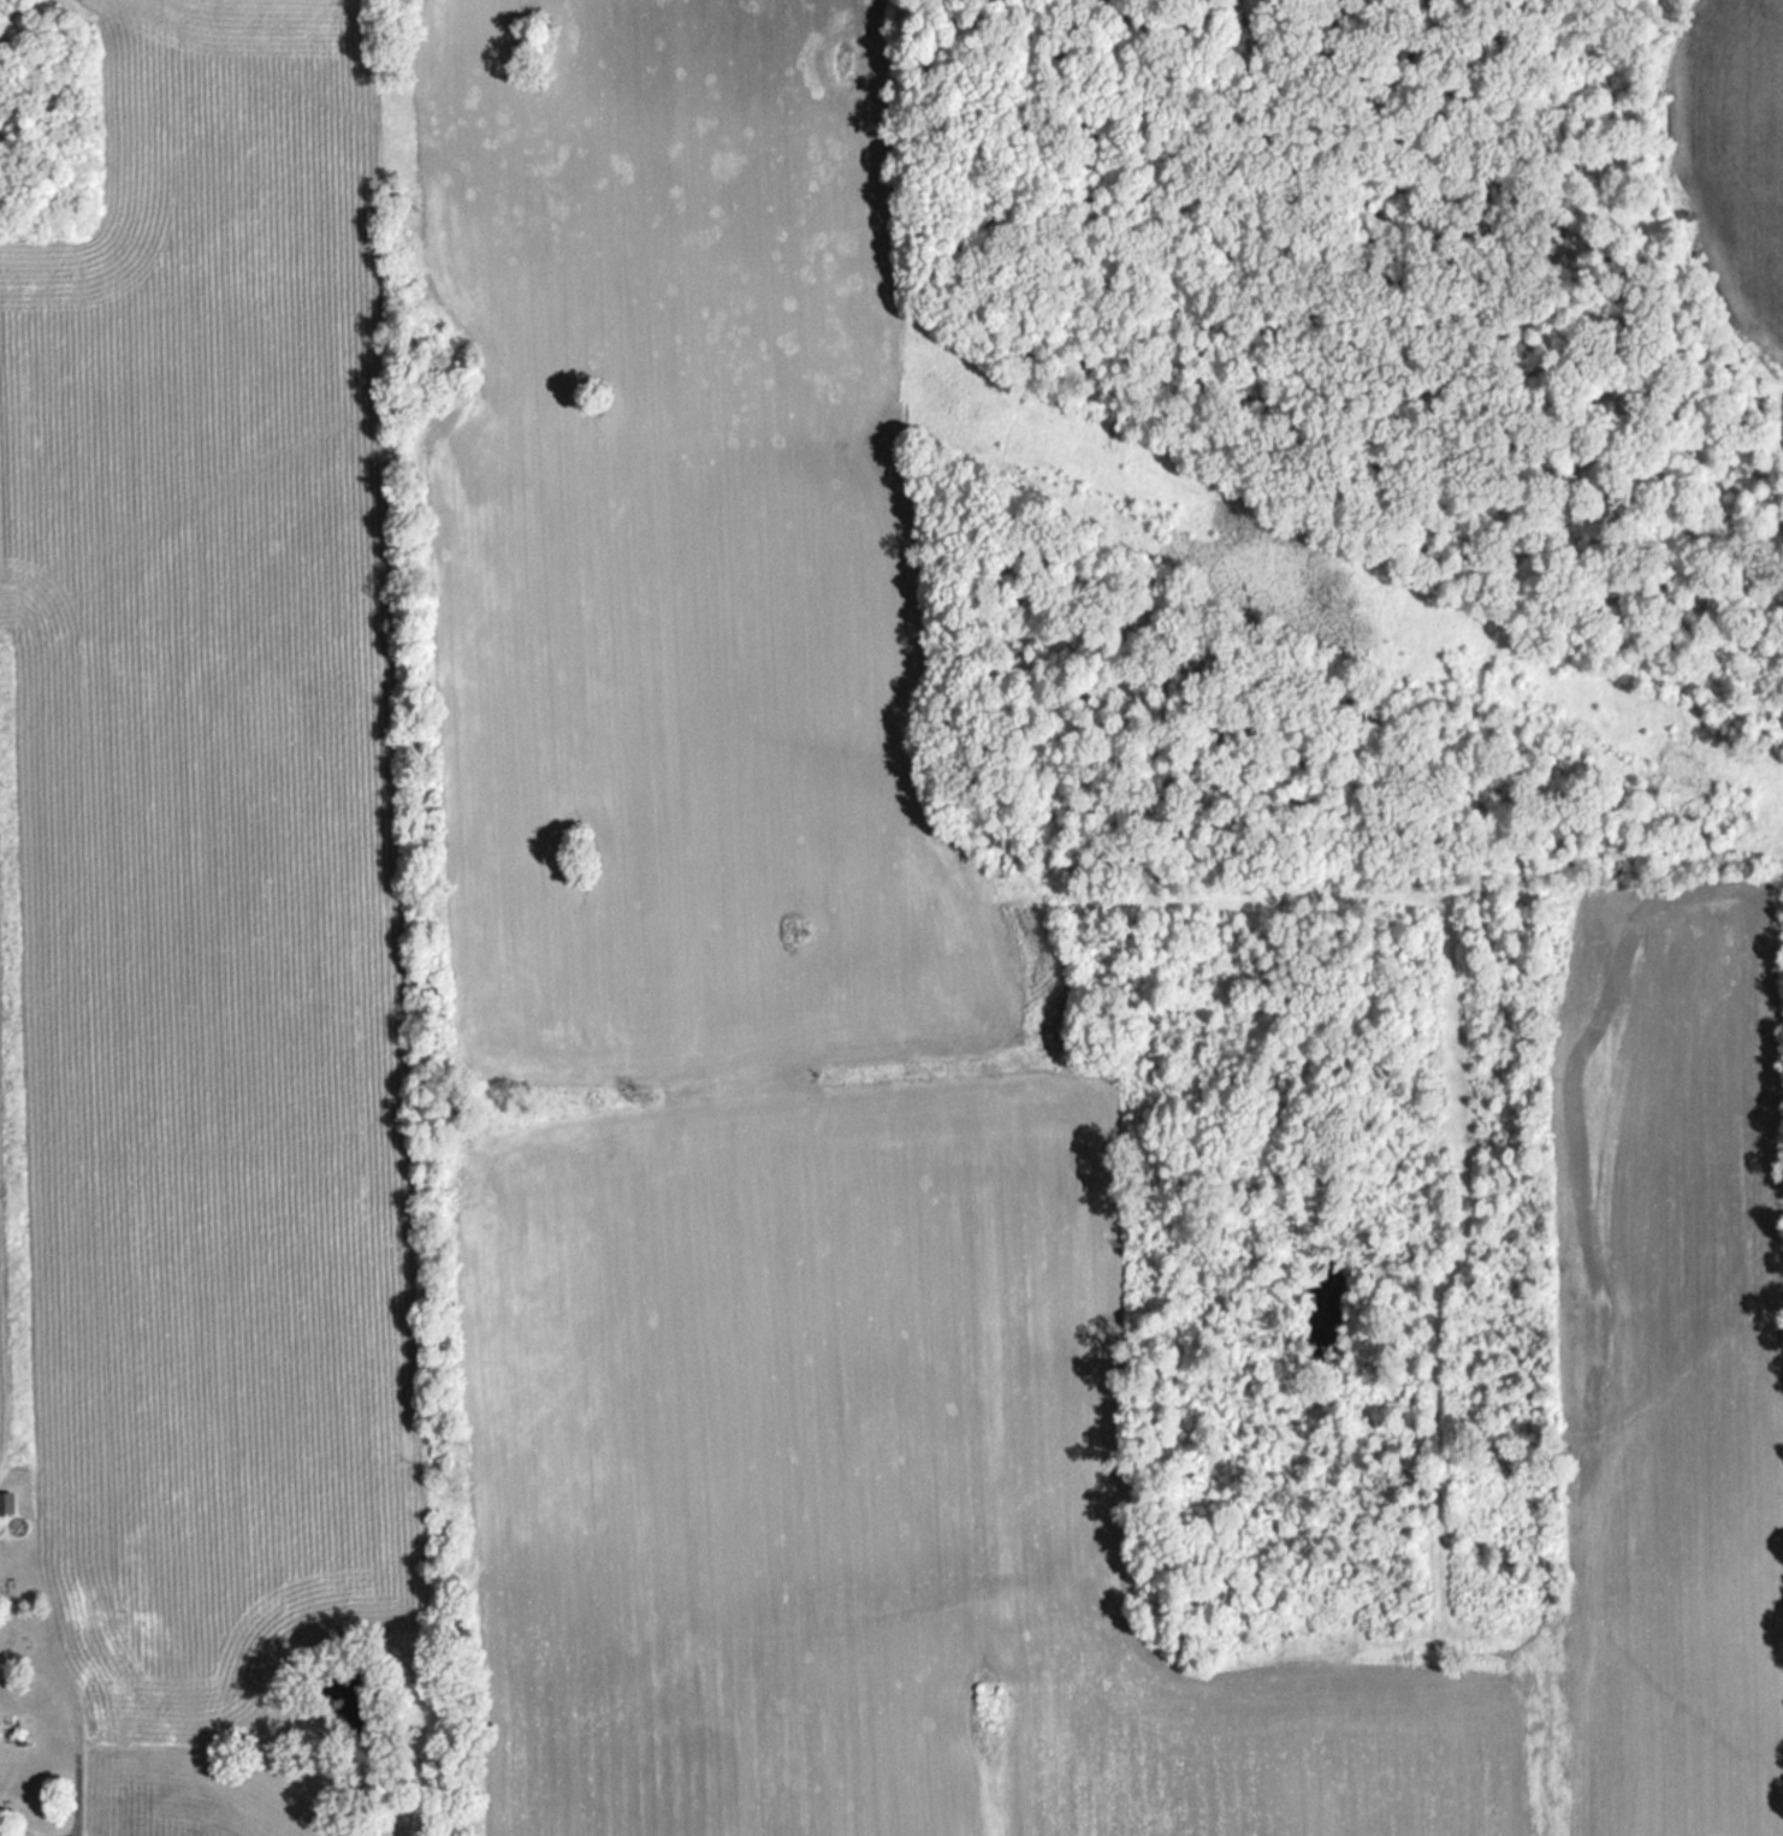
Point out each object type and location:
building: (7, 1502)
road: (38, 1830)

